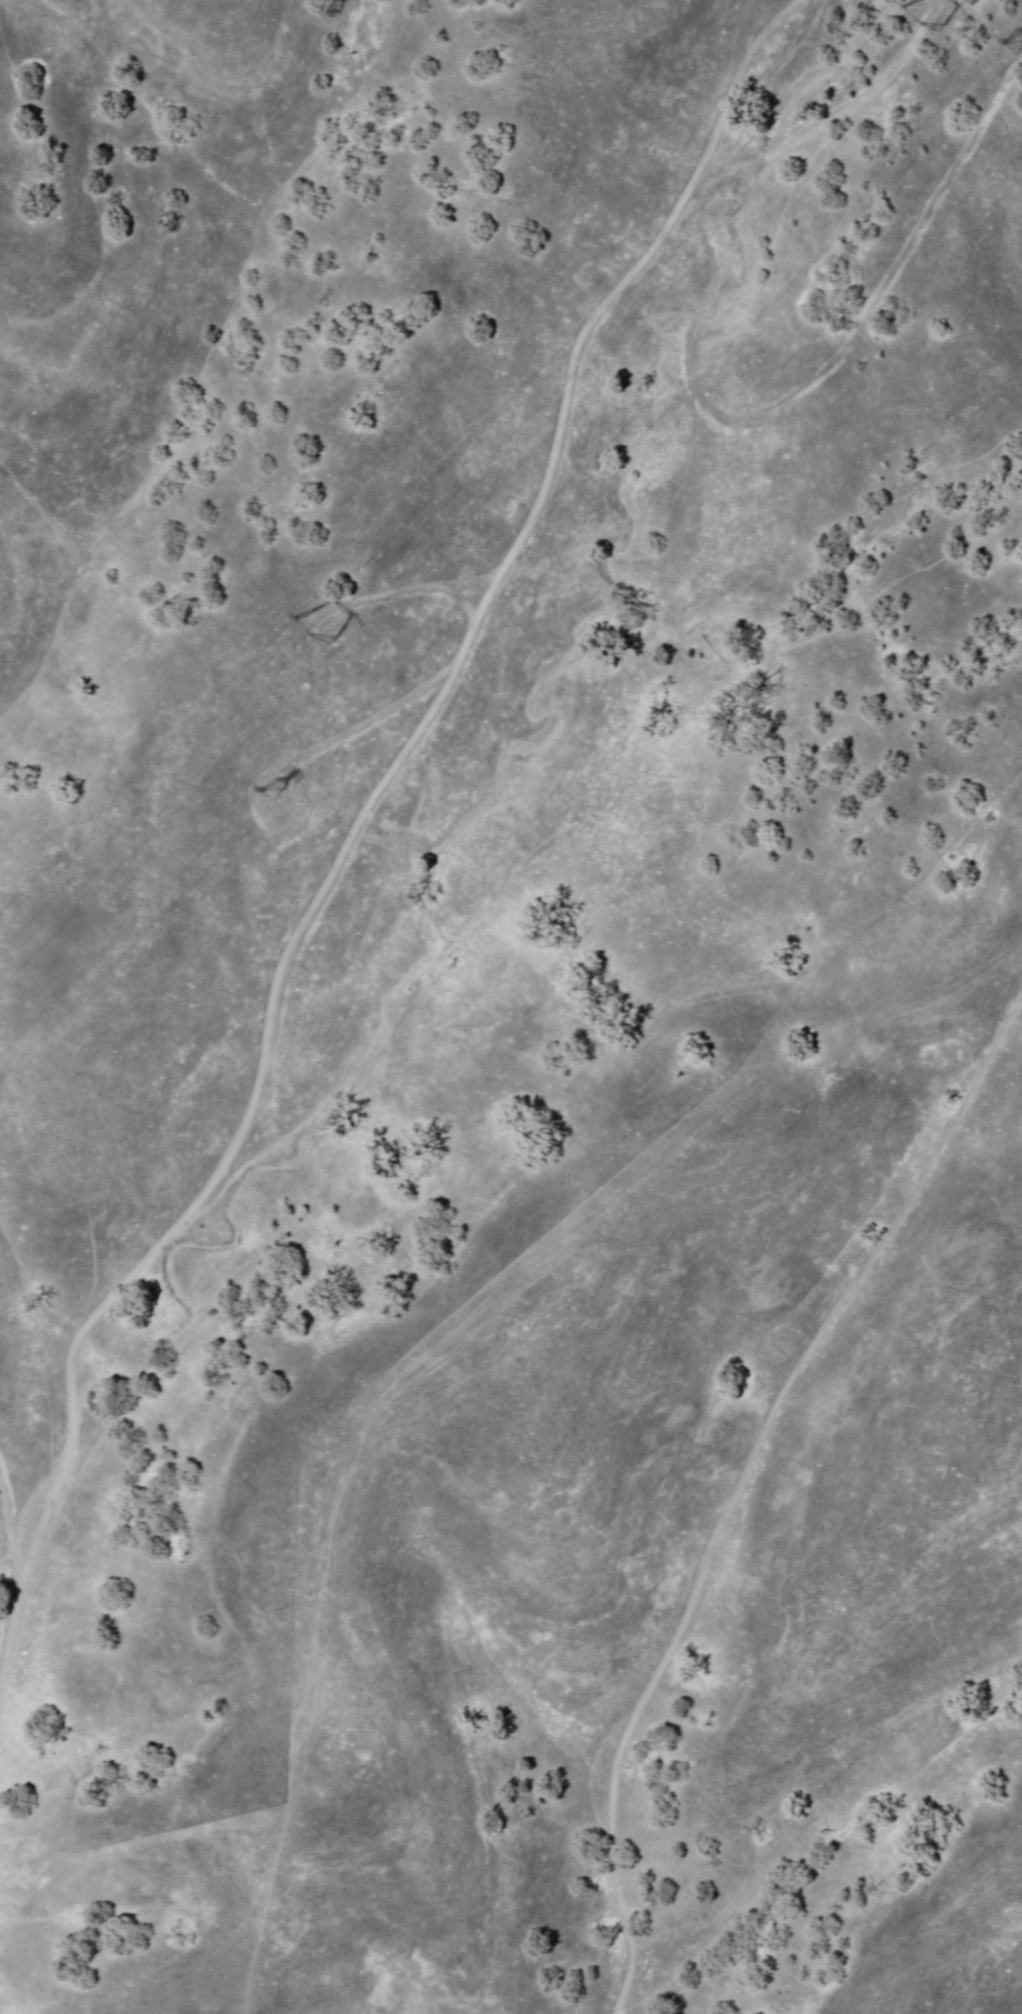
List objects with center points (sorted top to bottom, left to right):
power tower: (929, 37)
power tower: (1007, 56)
power tower: (318, 629)
power tower: (266, 794)
road: (355, 824)
road: (739, 1484)

